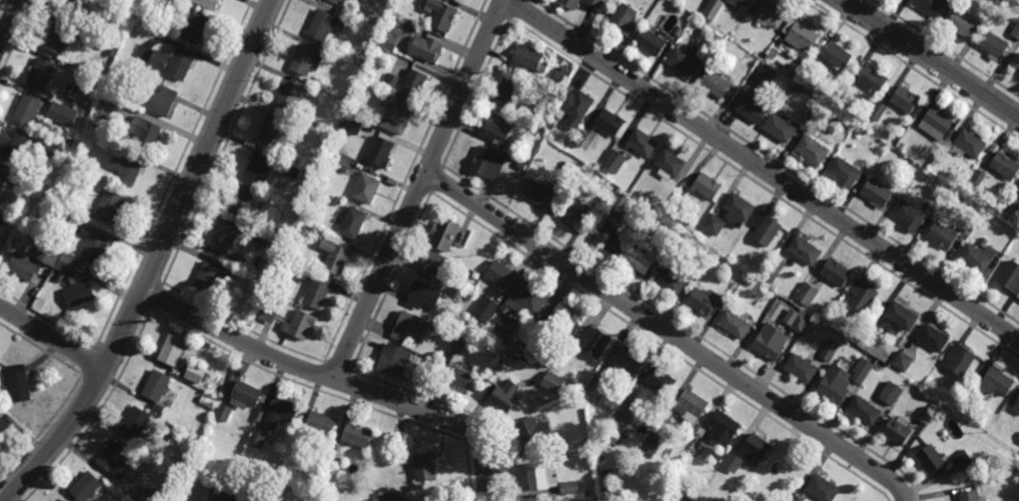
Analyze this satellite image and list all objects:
building: (355, 0)
building: (461, 0)
building: (336, 1)
building: (165, 2)
building: (572, 2)
building: (596, 2)
building: (739, 2)
building: (207, 3)
building: (173, 5)
building: (931, 6)
building: (70, 8)
building: (713, 8)
building: (771, 12)
building: (442, 14)
building: (750, 16)
building: (625, 17)
building: (962, 22)
road: (10, 23)
building: (323, 24)
building: (1014, 27)
building: (194, 29)
building: (679, 30)
building: (800, 34)
building: (57, 39)
building: (388, 40)
building: (651, 40)
building: (330, 42)
building: (712, 42)
building: (994, 44)
building: (426, 47)
building: (838, 55)
building: (527, 57)
building: (770, 57)
road: (931, 57)
building: (305, 59)
building: (684, 60)
building: (1016, 62)
building: (171, 63)
building: (792, 68)
building: (40, 73)
building: (766, 75)
building: (559, 76)
building: (873, 79)
building: (391, 80)
building: (414, 82)
building: (716, 82)
building: (796, 87)
building: (509, 89)
building: (288, 94)
building: (904, 99)
building: (159, 101)
building: (87, 104)
building: (108, 105)
building: (577, 106)
building: (753, 108)
building: (26, 110)
building: (878, 110)
building: (394, 113)
building: (61, 114)
building: (537, 115)
building: (828, 117)
building: (609, 122)
building: (936, 122)
building: (353, 125)
building: (552, 125)
building: (496, 127)
building: (780, 127)
building: (273, 130)
building: (535, 132)
building: (144, 133)
building: (580, 137)
building: (642, 142)
building: (68, 143)
building: (968, 143)
building: (10, 145)
building: (901, 145)
building: (48, 149)
building: (813, 149)
building: (379, 151)
building: (614, 161)
building: (341, 162)
building: (670, 162)
building: (488, 163)
building: (522, 165)
building: (1005, 165)
building: (596, 166)
building: (257, 167)
building: (125, 169)
road: (762, 169)
building: (292, 170)
building: (91, 171)
building: (604, 172)
building: (846, 172)
building: (923, 175)
building: (1, 177)
building: (979, 177)
building: (602, 180)
building: (564, 185)
building: (706, 186)
building: (366, 188)
building: (973, 188)
road: (418, 189)
building: (877, 192)
building: (1018, 193)
building: (539, 194)
building: (335, 200)
building: (242, 202)
building: (620, 202)
building: (1011, 202)
building: (108, 206)
building: (738, 210)
building: (909, 214)
building: (577, 215)
building: (352, 223)
building: (27, 224)
building: (72, 225)
building: (714, 225)
building: (766, 228)
building: (317, 232)
building: (444, 233)
building: (942, 235)
building: (224, 237)
building: (609, 237)
building: (260, 238)
building: (18, 239)
building: (668, 244)
building: (93, 248)
building: (805, 251)
building: (49, 256)
building: (334, 256)
building: (978, 256)
building: (639, 258)
road: (154, 261)
building: (65, 264)
building: (434, 264)
building: (23, 266)
building: (774, 270)
building: (836, 272)
building: (500, 273)
building: (474, 275)
building: (212, 276)
building: (1011, 276)
building: (672, 281)
building: (316, 292)
building: (446, 294)
building: (807, 294)
building: (78, 295)
building: (422, 295)
building: (726, 295)
building: (862, 295)
building: (527, 299)
building: (704, 301)
building: (485, 308)
building: (268, 314)
building: (898, 318)
building: (561, 319)
building: (800, 322)
building: (301, 324)
building: (734, 324)
building: (409, 326)
building: (433, 326)
building: (507, 326)
road: (668, 332)
road: (51, 337)
building: (932, 338)
building: (593, 341)
building: (503, 342)
building: (770, 342)
building: (458, 344)
building: (172, 349)
building: (830, 350)
building: (541, 354)
building: (627, 359)
building: (394, 360)
building: (958, 360)
building: (902, 361)
building: (801, 368)
building: (861, 370)
building: (195, 372)
building: (458, 377)
road: (333, 379)
building: (660, 380)
building: (553, 382)
building: (598, 382)
building: (19, 383)
building: (992, 383)
building: (156, 385)
building: (836, 385)
building: (891, 393)
building: (244, 395)
building: (505, 396)
building: (690, 405)
building: (1016, 407)
building: (278, 411)
building: (864, 411)
building: (222, 412)
building: (925, 415)
building: (134, 422)
building: (320, 423)
building: (618, 424)
building: (3, 425)
building: (723, 428)
building: (534, 431)
building: (898, 433)
building: (356, 436)
building: (256, 439)
building: (650, 445)
building: (757, 446)
building: (717, 455)
building: (930, 459)
building: (963, 460)
building: (117, 462)
building: (732, 462)
building: (332, 467)
building: (425, 467)
building: (790, 468)
building: (542, 476)
building: (764, 483)
building: (86, 487)
building: (570, 487)
building: (821, 488)
road: (479, 491)
building: (235, 495)
road: (472, 496)
building: (689, 496)
building: (969, 496)
building: (146, 497)
building: (387, 497)
building: (796, 498)
building: (63, 500)

